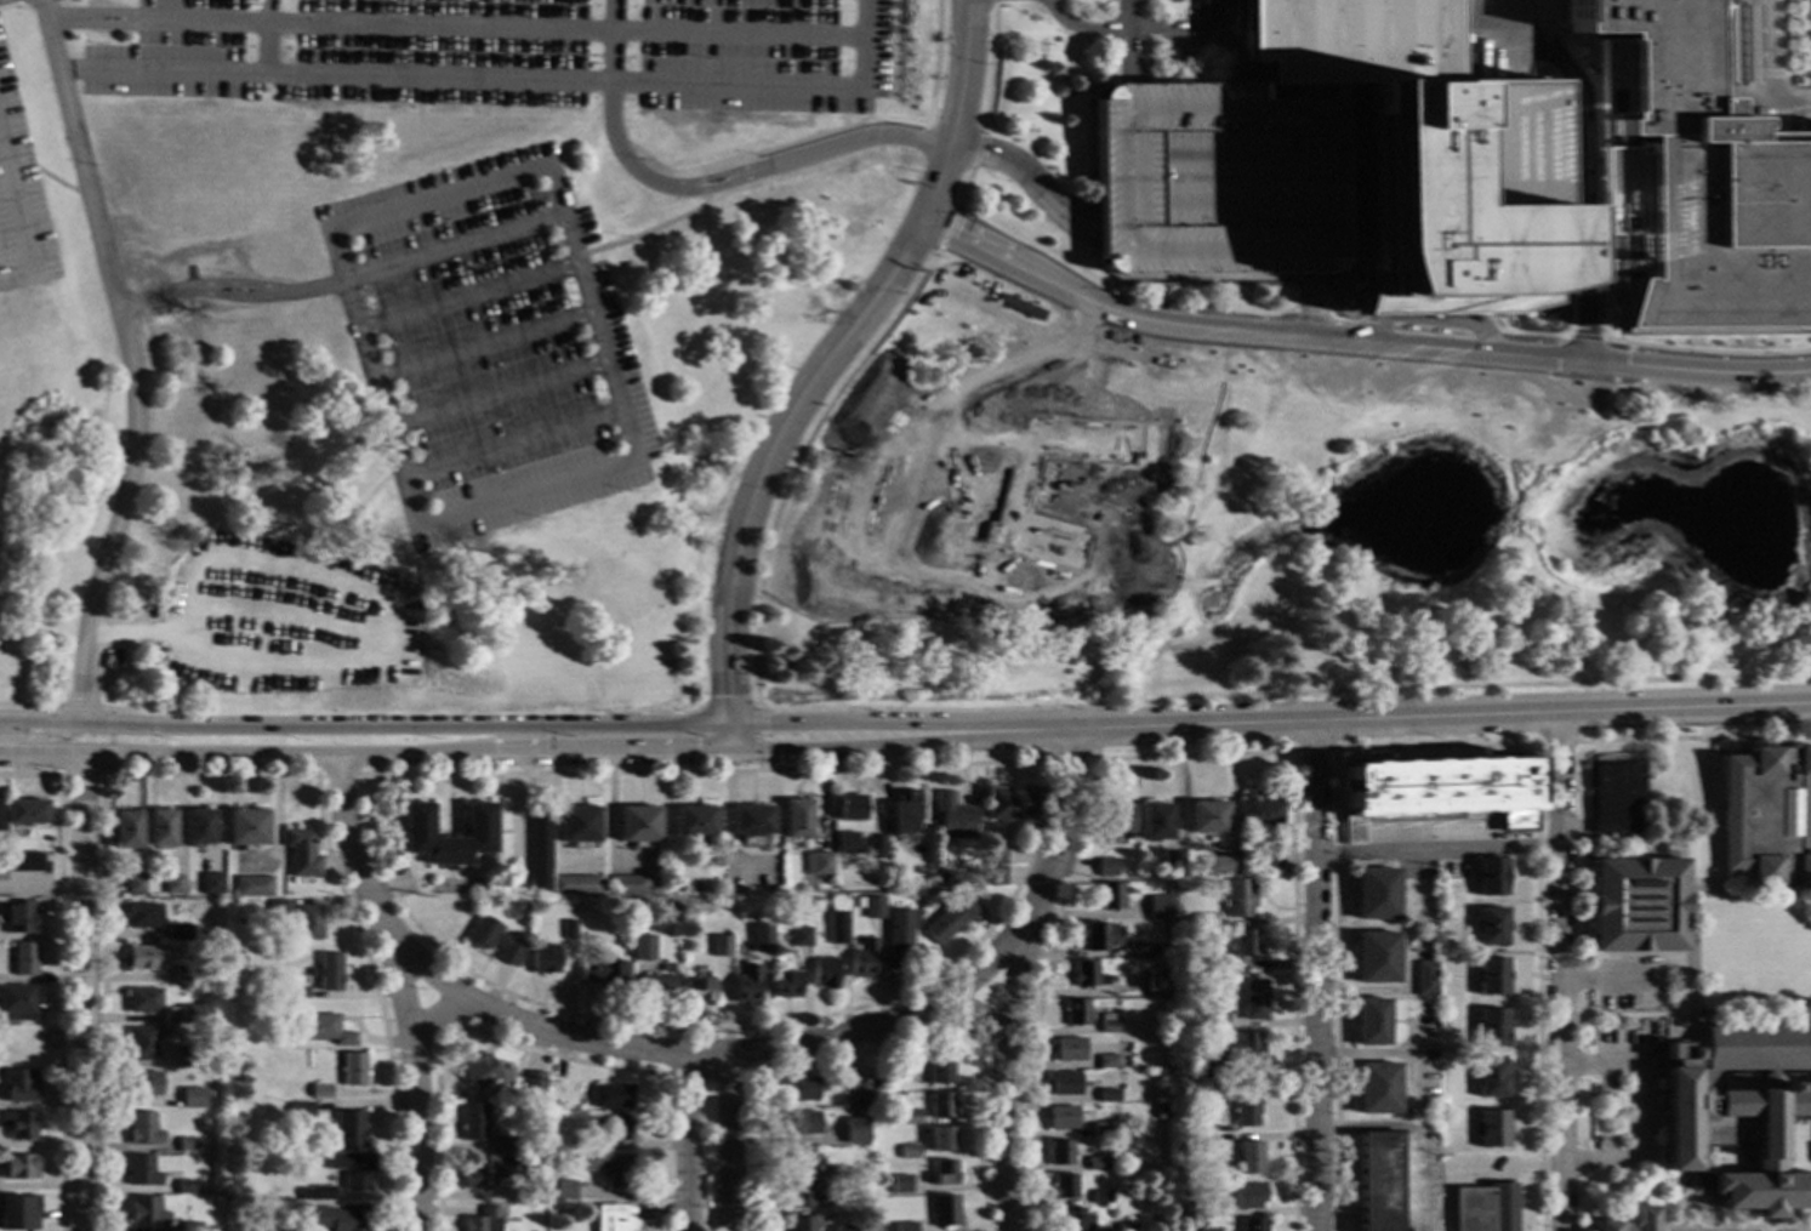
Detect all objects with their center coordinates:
road: (1, 0)
road: (24, 1)
road: (995, 2)
road: (1229, 2)
road: (11, 5)
road: (451, 27)
road: (1135, 29)
road: (1223, 32)
road: (268, 38)
road: (1131, 42)
parking lot: (509, 52)
road: (935, 63)
road: (990, 69)
road: (1721, 70)
road: (1766, 72)
road: (501, 79)
road: (955, 112)
road: (1585, 125)
road: (808, 138)
road: (975, 150)
building: (1456, 170)
road: (1026, 178)
parking garage: (1218, 178)
road: (702, 186)
road: (702, 187)
road: (962, 192)
road: (435, 199)
parking lot: (21, 201)
road: (21, 220)
road: (946, 230)
road: (642, 234)
road: (451, 250)
road: (1585, 264)
road: (229, 291)
road: (466, 297)
road: (1306, 304)
road: (588, 314)
road: (1585, 315)
road: (1379, 329)
road: (1355, 341)
road: (480, 344)
parking lot: (488, 346)
road: (129, 359)
road: (372, 380)
road: (495, 395)
road: (511, 444)
road: (770, 451)
road: (526, 495)
road: (186, 627)
traffic signals: (729, 697)
road: (30, 705)
road: (759, 707)
road: (1033, 707)
road: (1684, 707)
road: (79, 708)
road: (116, 709)
road: (1576, 713)
road: (1195, 723)
traffic signals: (767, 724)
road: (782, 724)
road: (1779, 724)
road: (364, 725)
road: (40, 737)
road: (729, 737)
road: (109, 741)
road: (757, 742)
road: (782, 750)
traffic signals: (697, 752)
road: (364, 757)
road: (1082, 759)
road: (212, 775)
road: (338, 775)
road: (29, 776)
road: (80, 776)
road: (1543, 777)
building: (1436, 792)
building: (1614, 798)
building: (1009, 804)
building: (849, 808)
building: (25, 813)
building: (1258, 813)
road: (1544, 815)
building: (1765, 815)
building: (902, 817)
building: (953, 817)
building: (1206, 817)
building: (797, 819)
building: (1112, 819)
building: (695, 821)
building: (752, 821)
building: (1155, 822)
building: (579, 825)
building: (638, 825)
building: (0, 827)
building: (246, 827)
building: (160, 828)
building: (200, 828)
building: (126, 831)
parking lot: (1428, 831)
building: (844, 844)
building: (448, 845)
road: (1434, 850)
building: (540, 851)
road: (1617, 851)
building: (301, 854)
building: (993, 855)
building: (1268, 856)
building: (1172, 861)
building: (23, 862)
building: (818, 865)
building: (1217, 866)
building: (1105, 867)
building: (993, 876)
building: (940, 877)
building: (1487, 877)
building: (887, 878)
building: (212, 884)
building: (135, 885)
building: (173, 885)
building: (252, 887)
building: (575, 887)
building: (628, 887)
road: (1745, 887)
road: (1782, 887)
road: (41, 891)
building: (485, 891)
building: (1373, 894)
building: (422, 895)
building: (1109, 896)
building: (804, 897)
building: (1236, 899)
building: (858, 902)
building: (1635, 905)
building: (277, 906)
building: (872, 907)
building: (665, 908)
building: (1158, 910)
building: (143, 916)
building: (19, 917)
building: (947, 921)
building: (1205, 921)
building: (306, 924)
building: (1488, 927)
building: (836, 929)
building: (568, 930)
building: (180, 933)
building: (896, 936)
building: (1099, 936)
building: (798, 938)
building: (759, 939)
building: (492, 940)
building: (1243, 944)
building: (719, 946)
building: (640, 947)
building: (1137, 950)
building: (763, 952)
road: (1638, 953)
road: (1675, 956)
building: (143, 958)
building: (1374, 958)
building: (24, 959)
building: (543, 959)
building: (862, 961)
road: (1334, 961)
road: (1557, 970)
building: (329, 971)
building: (1224, 971)
building: (824, 973)
building: (603, 974)
road: (1013, 974)
building: (182, 975)
building: (1087, 975)
road: (1312, 975)
building: (1488, 976)
building: (1423, 979)
road: (1599, 980)
parking lot: (1622, 984)
building: (786, 985)
building: (1156, 985)
building: (656, 986)
building: (746, 986)
road: (1537, 987)
road: (402, 990)
building: (697, 991)
road: (1293, 991)
building: (279, 992)
road: (84, 993)
building: (297, 993)
building: (142, 1001)
building: (1252, 1001)
building: (16, 1004)
building: (279, 1007)
building: (1075, 1013)
building: (189, 1014)
road: (1618, 1014)
road: (437, 1016)
building: (176, 1018)
road: (984, 1020)
building: (1214, 1021)
road: (1613, 1021)
building: (1371, 1022)
building: (1106, 1025)
building: (1490, 1027)
building: (323, 1028)
building: (141, 1044)
building: (1240, 1047)
building: (1067, 1050)
building: (190, 1058)
road: (707, 1058)
building: (1106, 1061)
building: (938, 1068)
building: (1207, 1068)
building: (353, 1070)
building: (479, 1073)
building: (536, 1077)
building: (876, 1078)
building: (1488, 1078)
road: (1655, 1081)
building: (143, 1083)
building: (1064, 1084)
building: (19, 1085)
building: (1376, 1089)
building: (799, 1090)
building: (320, 1092)
building: (1107, 1093)
building: (854, 1095)
building: (610, 1096)
building: (1212, 1096)
building: (182, 1101)
building: (940, 1105)
building: (556, 1109)
building: (302, 1111)
building: (1738, 1111)
road: (1638, 1112)
parking lot: (1640, 1112)
building: (859, 1113)
building: (1245, 1113)
building: (1158, 1115)
building: (907, 1117)
building: (1060, 1118)
building: (473, 1122)
building: (801, 1123)
building: (18, 1124)
building: (614, 1128)
building: (348, 1129)
building: (1100, 1129)
building: (1490, 1129)
building: (142, 1130)
building: (854, 1132)
building: (941, 1139)
building: (1203, 1140)
building: (580, 1144)
road: (688, 1144)
building: (187, 1145)
building: (501, 1145)
road: (728, 1145)
building: (907, 1151)
building: (1058, 1152)
building: (873, 1157)
building: (1249, 1158)
building: (798, 1162)
building: (1097, 1163)
building: (18, 1167)
building: (610, 1168)
building: (351, 1169)
building: (489, 1170)
building: (142, 1172)
building: (837, 1174)
building: (944, 1174)
building: (1376, 1180)
building: (899, 1185)
road: (1652, 1185)
building: (1063, 1186)
road: (1652, 1186)
building: (186, 1187)
building: (860, 1187)
building: (563, 1190)
building: (315, 1195)
building: (798, 1196)
building: (1247, 1196)
building: (1100, 1197)
building: (1482, 1208)
building: (1194, 1210)
building: (18, 1212)
building: (944, 1212)
building: (146, 1213)
building: (610, 1218)
building: (338, 1219)
building: (1073, 1220)
building: (482, 1221)
building: (1629, 1221)
building: (798, 1224)
building: (1252, 1225)
road: (1765, 1225)
building: (904, 1226)
building: (190, 1227)
building: (1126, 1227)
road: (1736, 1227)
building: (844, 1229)
building: (1208, 1230)

